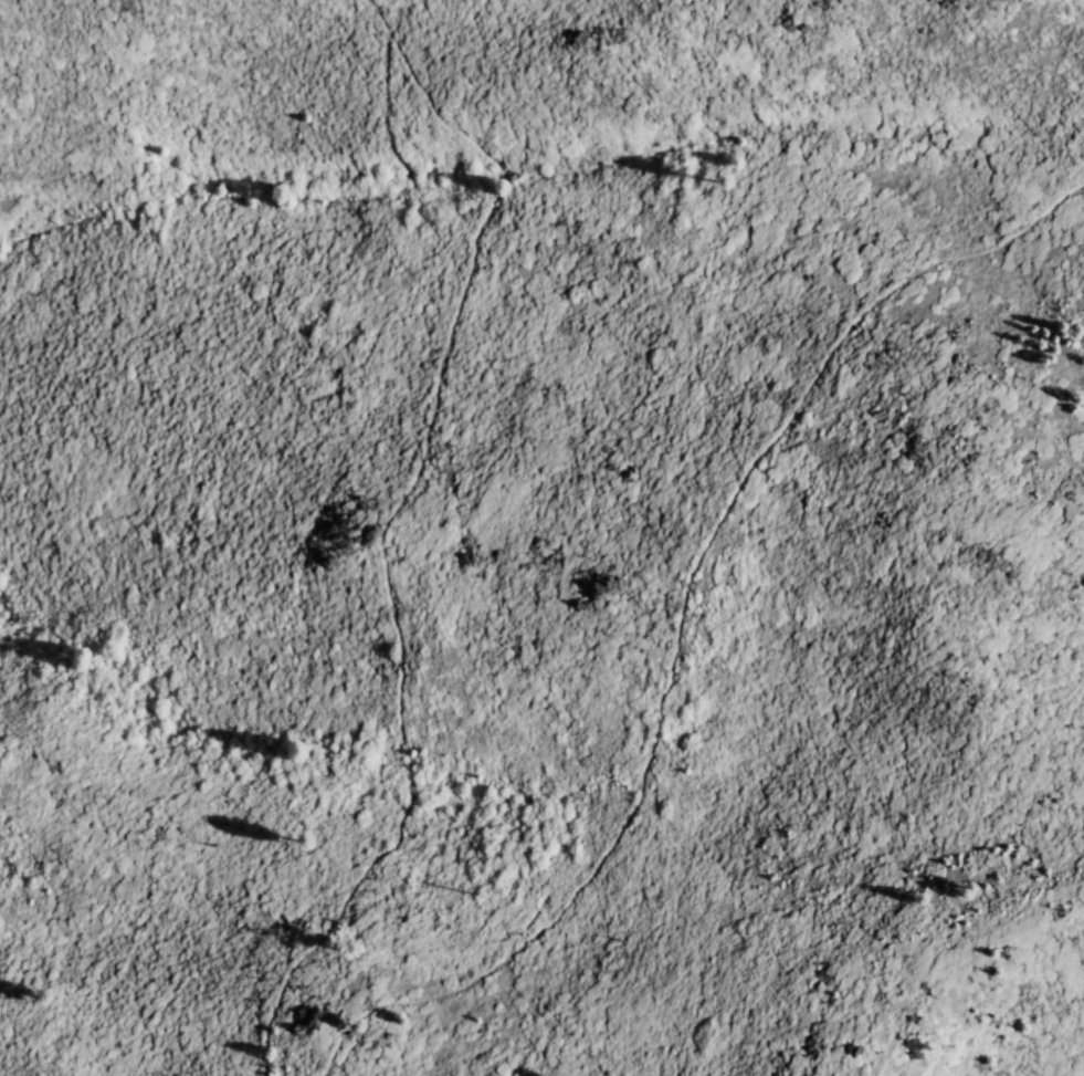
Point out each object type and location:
road: (1078, 12)
road: (967, 253)
road: (383, 522)
road: (646, 752)

